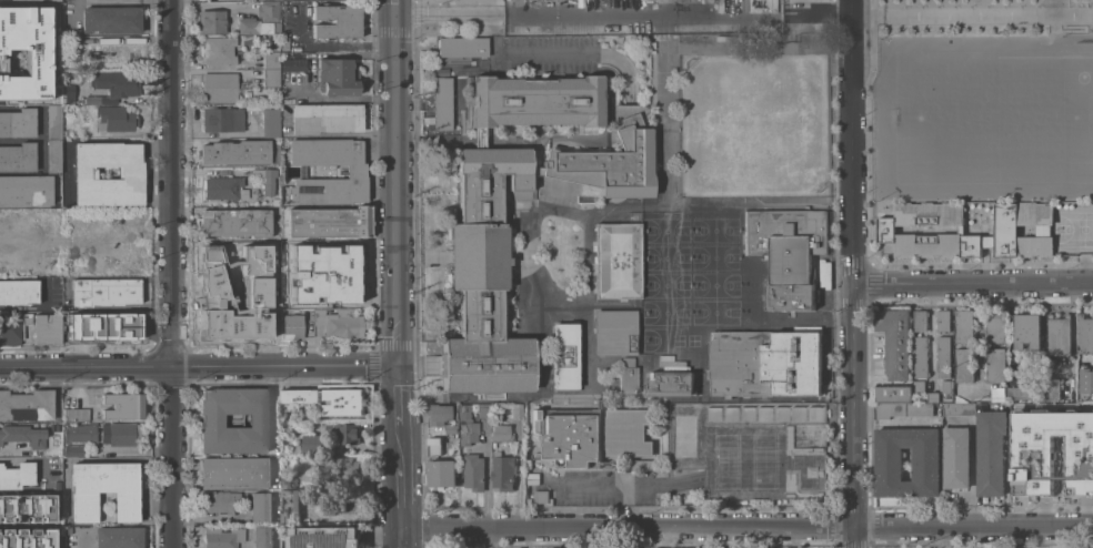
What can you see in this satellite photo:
road: (208, 3)
road: (517, 8)
road: (397, 9)
building: (268, 10)
road: (945, 14)
road: (449, 17)
road: (643, 17)
road: (818, 17)
building: (111, 19)
building: (211, 21)
building: (337, 21)
building: (253, 26)
building: (277, 28)
building: (636, 29)
building: (66, 39)
building: (284, 42)
road: (334, 44)
building: (462, 47)
building: (114, 49)
building: (220, 50)
road: (528, 51)
building: (24, 53)
building: (271, 59)
building: (293, 64)
building: (271, 77)
building: (337, 77)
building: (114, 85)
building: (219, 87)
building: (69, 93)
building: (441, 102)
building: (252, 106)
park: (982, 115)
building: (114, 118)
building: (325, 118)
building: (222, 119)
building: (53, 121)
building: (17, 122)
building: (270, 122)
building: (63, 132)
road: (851, 143)
building: (235, 151)
building: (53, 155)
building: (17, 156)
building: (355, 171)
building: (130, 173)
building: (267, 179)
building: (224, 187)
building: (26, 189)
road: (398, 191)
building: (275, 201)
building: (237, 222)
building: (329, 222)
building: (1017, 223)
building: (885, 229)
building: (478, 241)
building: (974, 244)
building: (1035, 244)
building: (786, 252)
building: (616, 260)
building: (324, 273)
road: (172, 274)
building: (259, 276)
building: (212, 282)
road: (972, 284)
building: (18, 291)
building: (104, 291)
building: (273, 309)
building: (100, 316)
building: (920, 319)
building: (943, 319)
building: (299, 323)
building: (232, 324)
building: (342, 324)
building: (964, 325)
building: (78, 326)
building: (126, 326)
building: (994, 326)
building: (13, 328)
building: (46, 328)
building: (1026, 329)
building: (614, 332)
building: (1084, 332)
building: (1059, 334)
building: (894, 341)
building: (563, 355)
building: (921, 356)
building: (943, 356)
building: (764, 363)
building: (964, 364)
building: (995, 364)
road: (199, 365)
building: (626, 376)
building: (1085, 379)
building: (671, 383)
building: (919, 386)
building: (946, 388)
building: (1054, 388)
building: (1019, 393)
building: (893, 394)
building: (932, 396)
building: (299, 397)
building: (345, 402)
building: (26, 405)
road: (852, 405)
building: (122, 406)
road: (399, 407)
building: (902, 408)
building: (957, 408)
building: (484, 410)
building: (517, 410)
building: (77, 414)
building: (439, 414)
building: (212, 420)
building: (535, 420)
building: (301, 423)
building: (467, 426)
building: (450, 428)
building: (348, 433)
building: (501, 433)
building: (103, 434)
building: (22, 435)
building: (593, 435)
building: (313, 444)
building: (434, 446)
building: (285, 448)
building: (751, 448)
building: (73, 450)
building: (990, 451)
building: (1052, 453)
building: (956, 457)
building: (643, 464)
building: (889, 464)
building: (235, 470)
building: (339, 470)
building: (474, 471)
building: (502, 471)
building: (441, 473)
building: (16, 475)
building: (532, 479)
road: (594, 480)
building: (288, 481)
road: (401, 487)
building: (104, 489)
building: (542, 496)
building: (220, 500)
building: (11, 503)
building: (337, 505)
building: (261, 506)
building: (290, 506)
building: (40, 511)
road: (208, 516)
road: (628, 525)
road: (973, 525)
road: (27, 526)
road: (854, 536)
road: (943, 536)
building: (53, 537)
building: (119, 537)
building: (223, 537)
building: (261, 537)
building: (324, 537)
road: (402, 537)
building: (18, 538)

